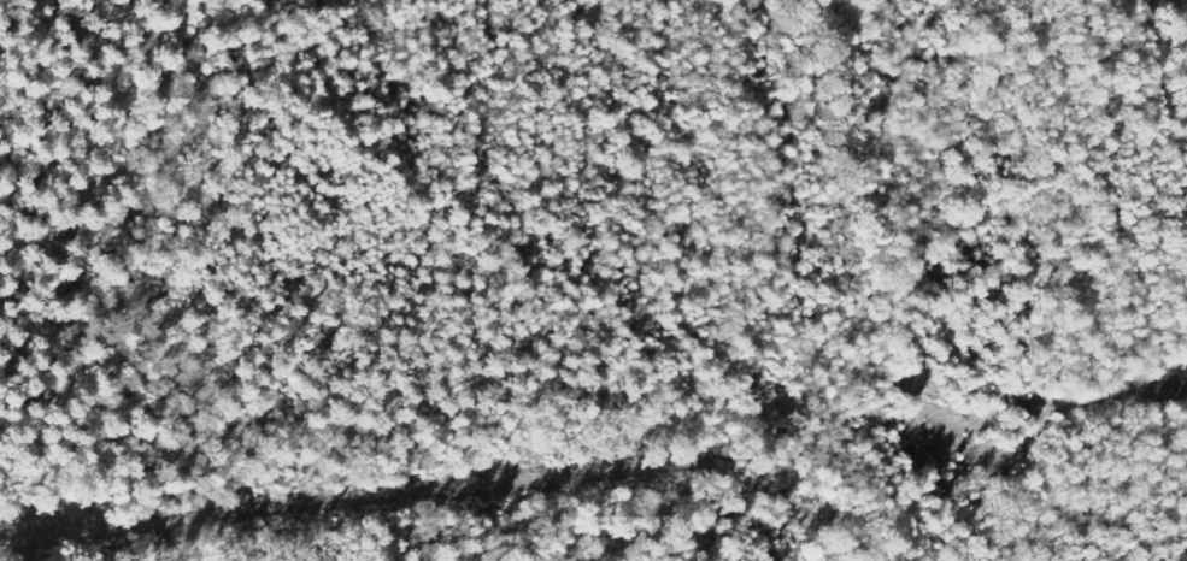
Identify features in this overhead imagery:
road: (472, 426)

